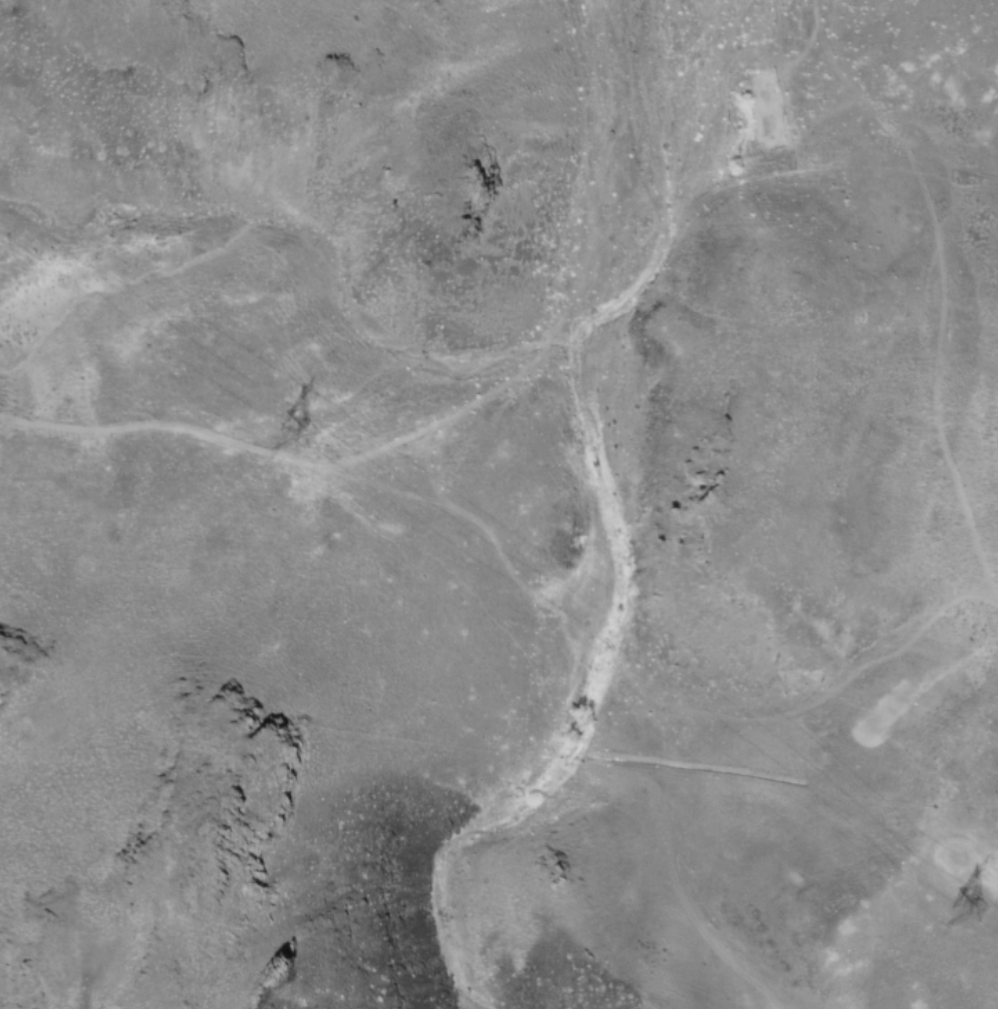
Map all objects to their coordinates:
road: (953, 286)
road: (478, 398)
road: (381, 483)
road: (662, 698)
road: (977, 872)
road: (685, 902)
power tower: (981, 910)

